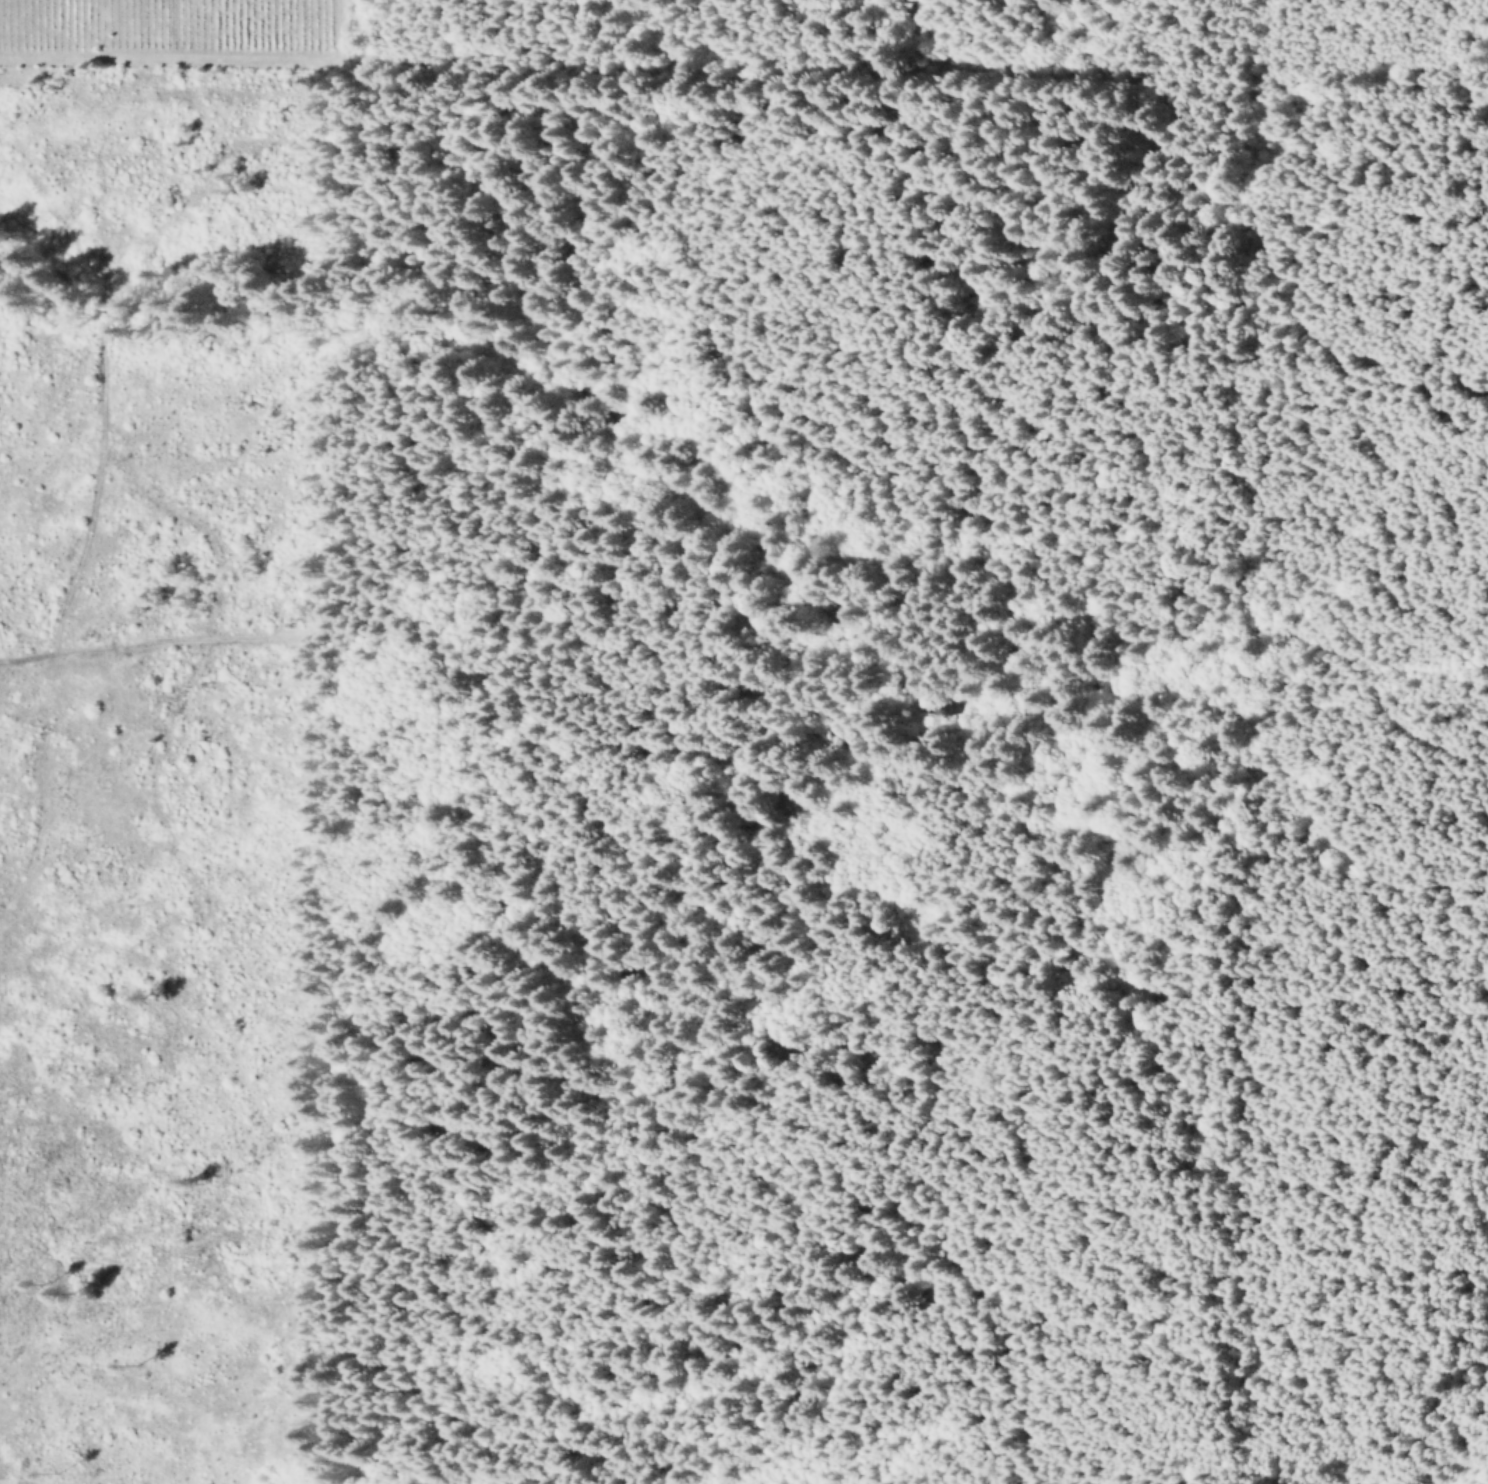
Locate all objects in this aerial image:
road: (140, 1284)

